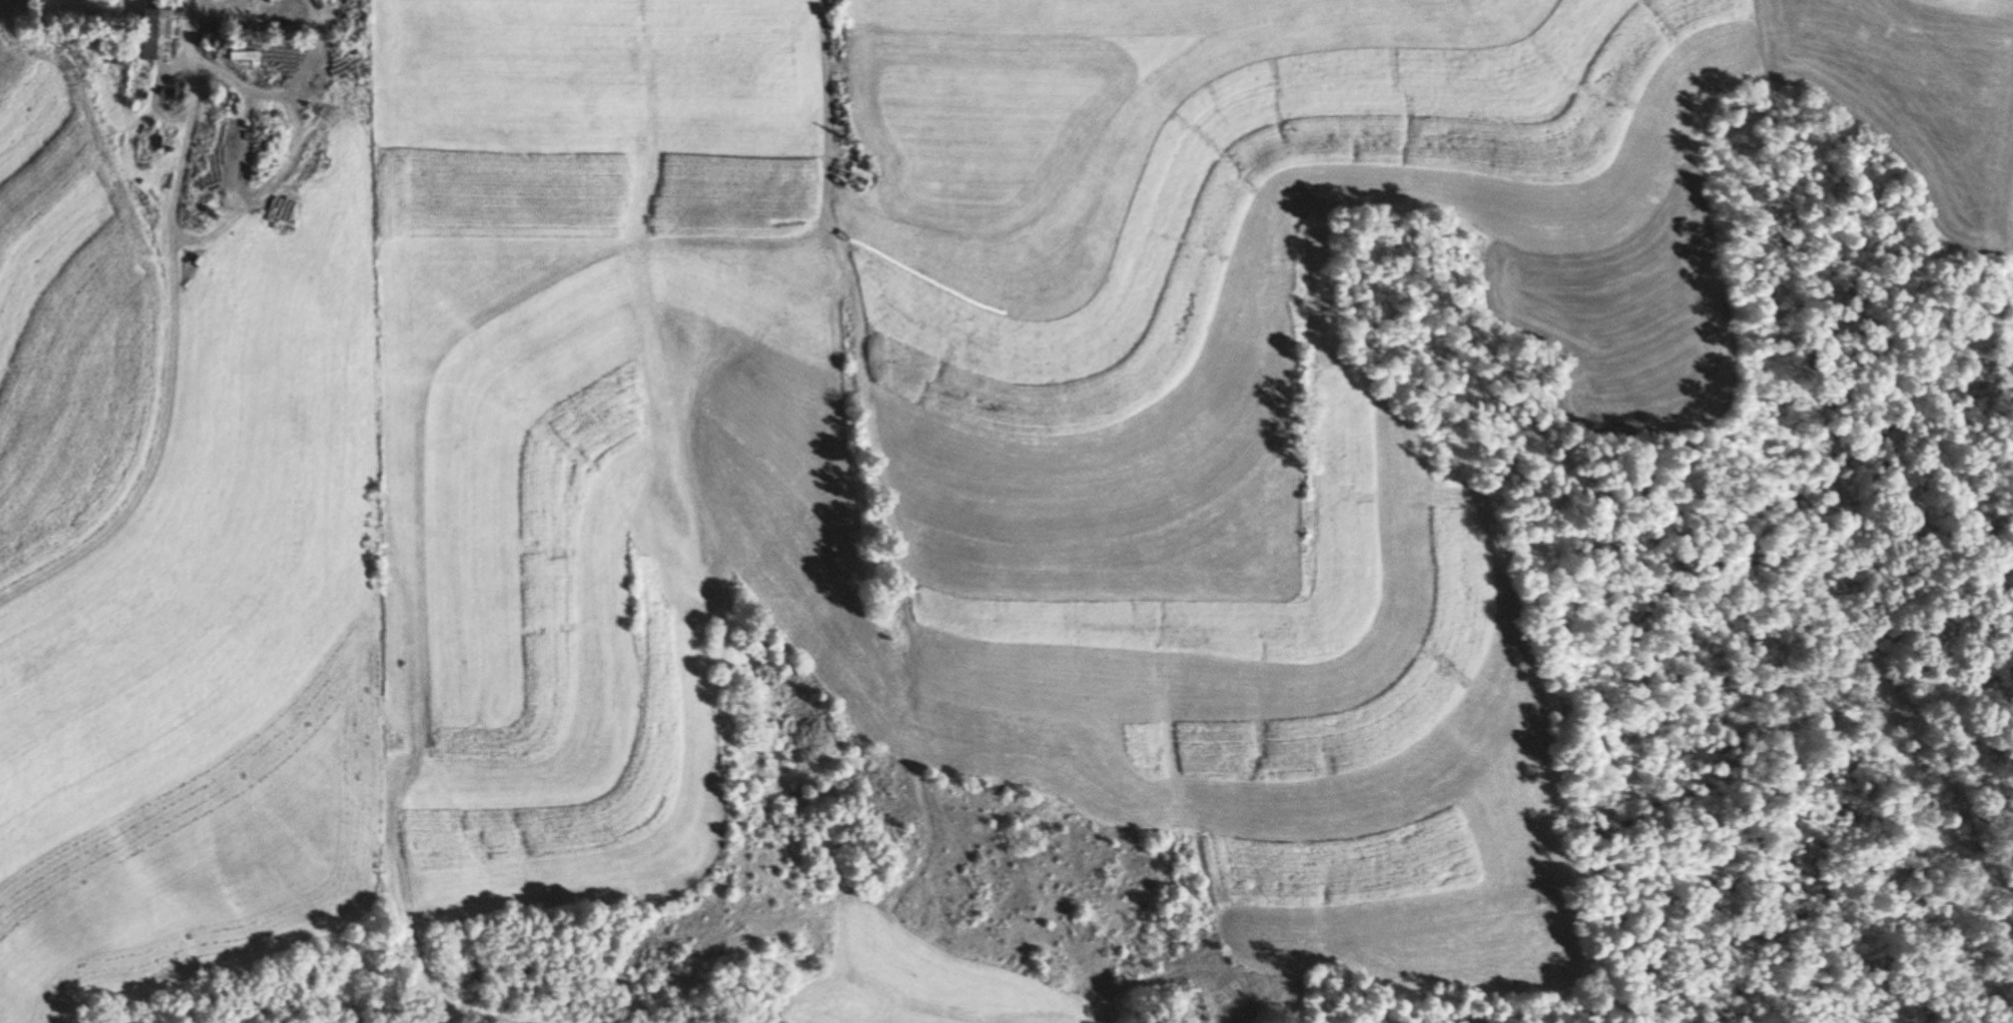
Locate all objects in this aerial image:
building: (151, 31)
crop: (1912, 95)
road: (187, 112)
crop: (1264, 408)
crop: (617, 444)
crop: (174, 563)
crop: (909, 978)

